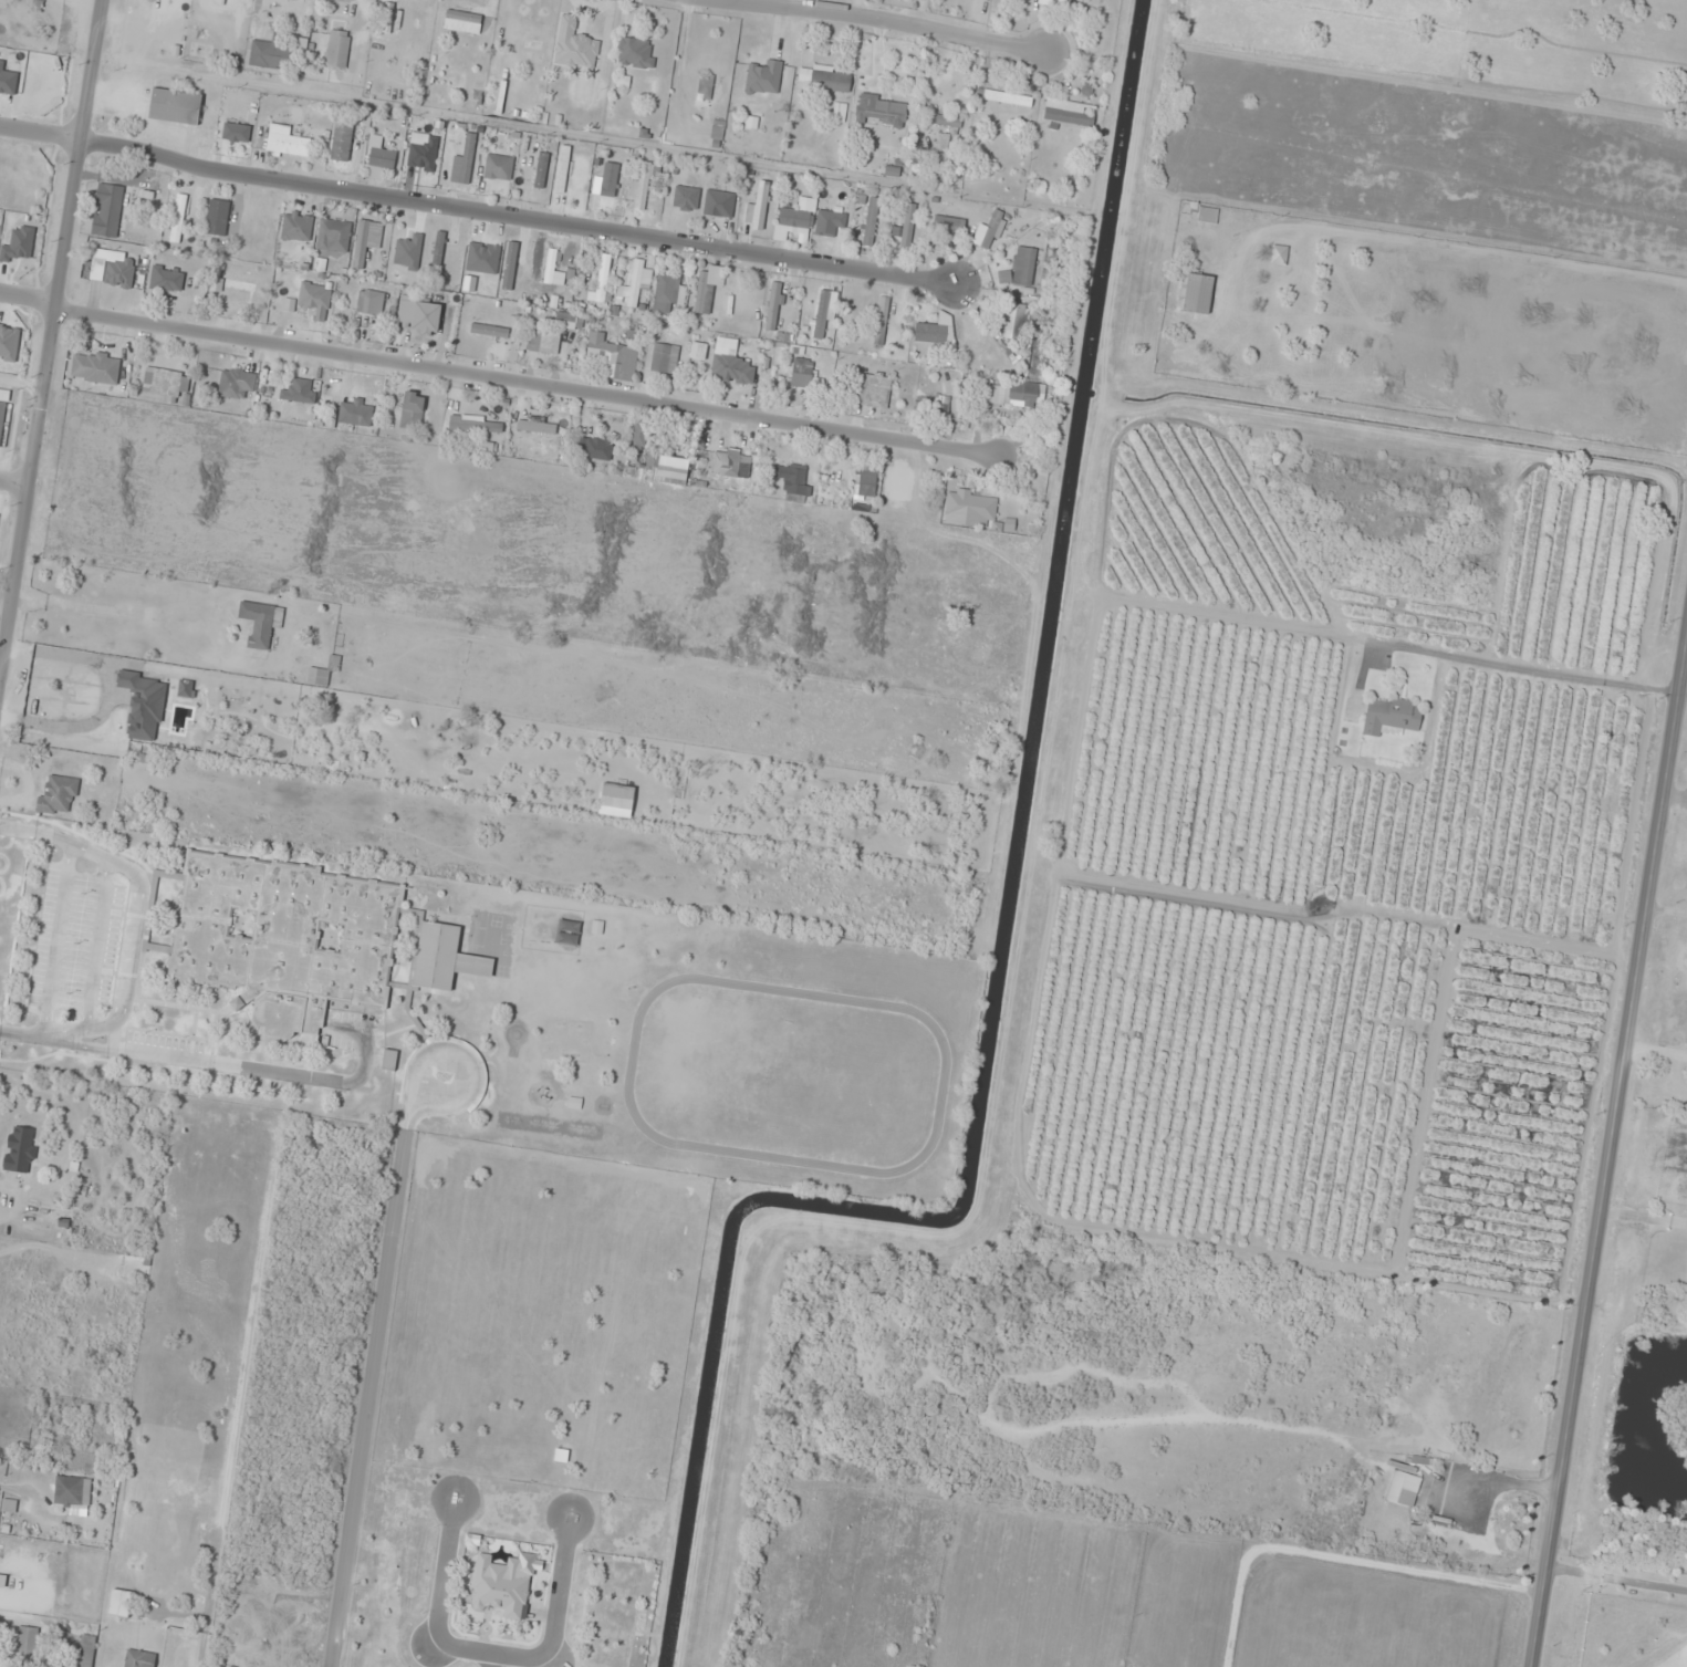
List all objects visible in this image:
building: (1053, 2)
building: (387, 18)
road: (876, 20)
building: (462, 22)
building: (574, 45)
building: (337, 49)
building: (636, 53)
building: (270, 54)
building: (1658, 55)
building: (824, 77)
building: (764, 79)
building: (706, 86)
building: (1008, 98)
building: (175, 106)
building: (882, 111)
building: (1069, 117)
building: (944, 121)
building: (717, 129)
road: (41, 136)
building: (287, 142)
building: (342, 143)
building: (424, 156)
building: (378, 159)
building: (464, 163)
building: (498, 168)
building: (541, 170)
building: (642, 186)
building: (690, 194)
building: (718, 204)
building: (758, 209)
building: (107, 210)
building: (1207, 216)
building: (218, 218)
building: (178, 219)
road: (519, 220)
building: (794, 221)
building: (830, 222)
building: (871, 222)
building: (948, 226)
building: (296, 227)
building: (904, 231)
building: (990, 231)
building: (335, 237)
building: (366, 241)
building: (438, 248)
building: (1279, 256)
building: (550, 267)
building: (1020, 269)
building: (118, 272)
building: (167, 279)
building: (603, 279)
building: (637, 282)
building: (243, 283)
building: (666, 293)
building: (704, 293)
building: (1197, 295)
road: (29, 298)
building: (315, 301)
building: (371, 303)
building: (773, 306)
building: (420, 315)
building: (882, 321)
building: (1013, 322)
building: (936, 331)
road: (52, 336)
building: (542, 344)
building: (698, 352)
building: (613, 357)
building: (660, 358)
building: (94, 367)
building: (732, 369)
building: (804, 375)
road: (21, 384)
building: (166, 384)
building: (237, 384)
road: (529, 389)
building: (873, 390)
building: (301, 392)
building: (1, 394)
building: (1012, 394)
building: (933, 406)
building: (413, 410)
building: (355, 413)
building: (2, 418)
building: (476, 425)
building: (537, 426)
building: (639, 435)
building: (480, 447)
building: (594, 450)
building: (731, 466)
building: (662, 469)
building: (795, 482)
building: (865, 482)
road: (12, 485)
building: (973, 511)
road: (7, 580)
building: (260, 622)
building: (317, 678)
building: (82, 697)
building: (1392, 717)
building: (55, 732)
building: (59, 794)
building: (295, 938)
road: (466, 1055)
building: (389, 1060)
building: (575, 1103)
building: (21, 1149)
road: (1613, 1191)
road: (367, 1395)
building: (1408, 1491)
building: (73, 1492)
building: (2, 1583)
building: (504, 1585)
building: (121, 1603)
building: (27, 1644)
building: (86, 1652)
building: (139, 1659)

